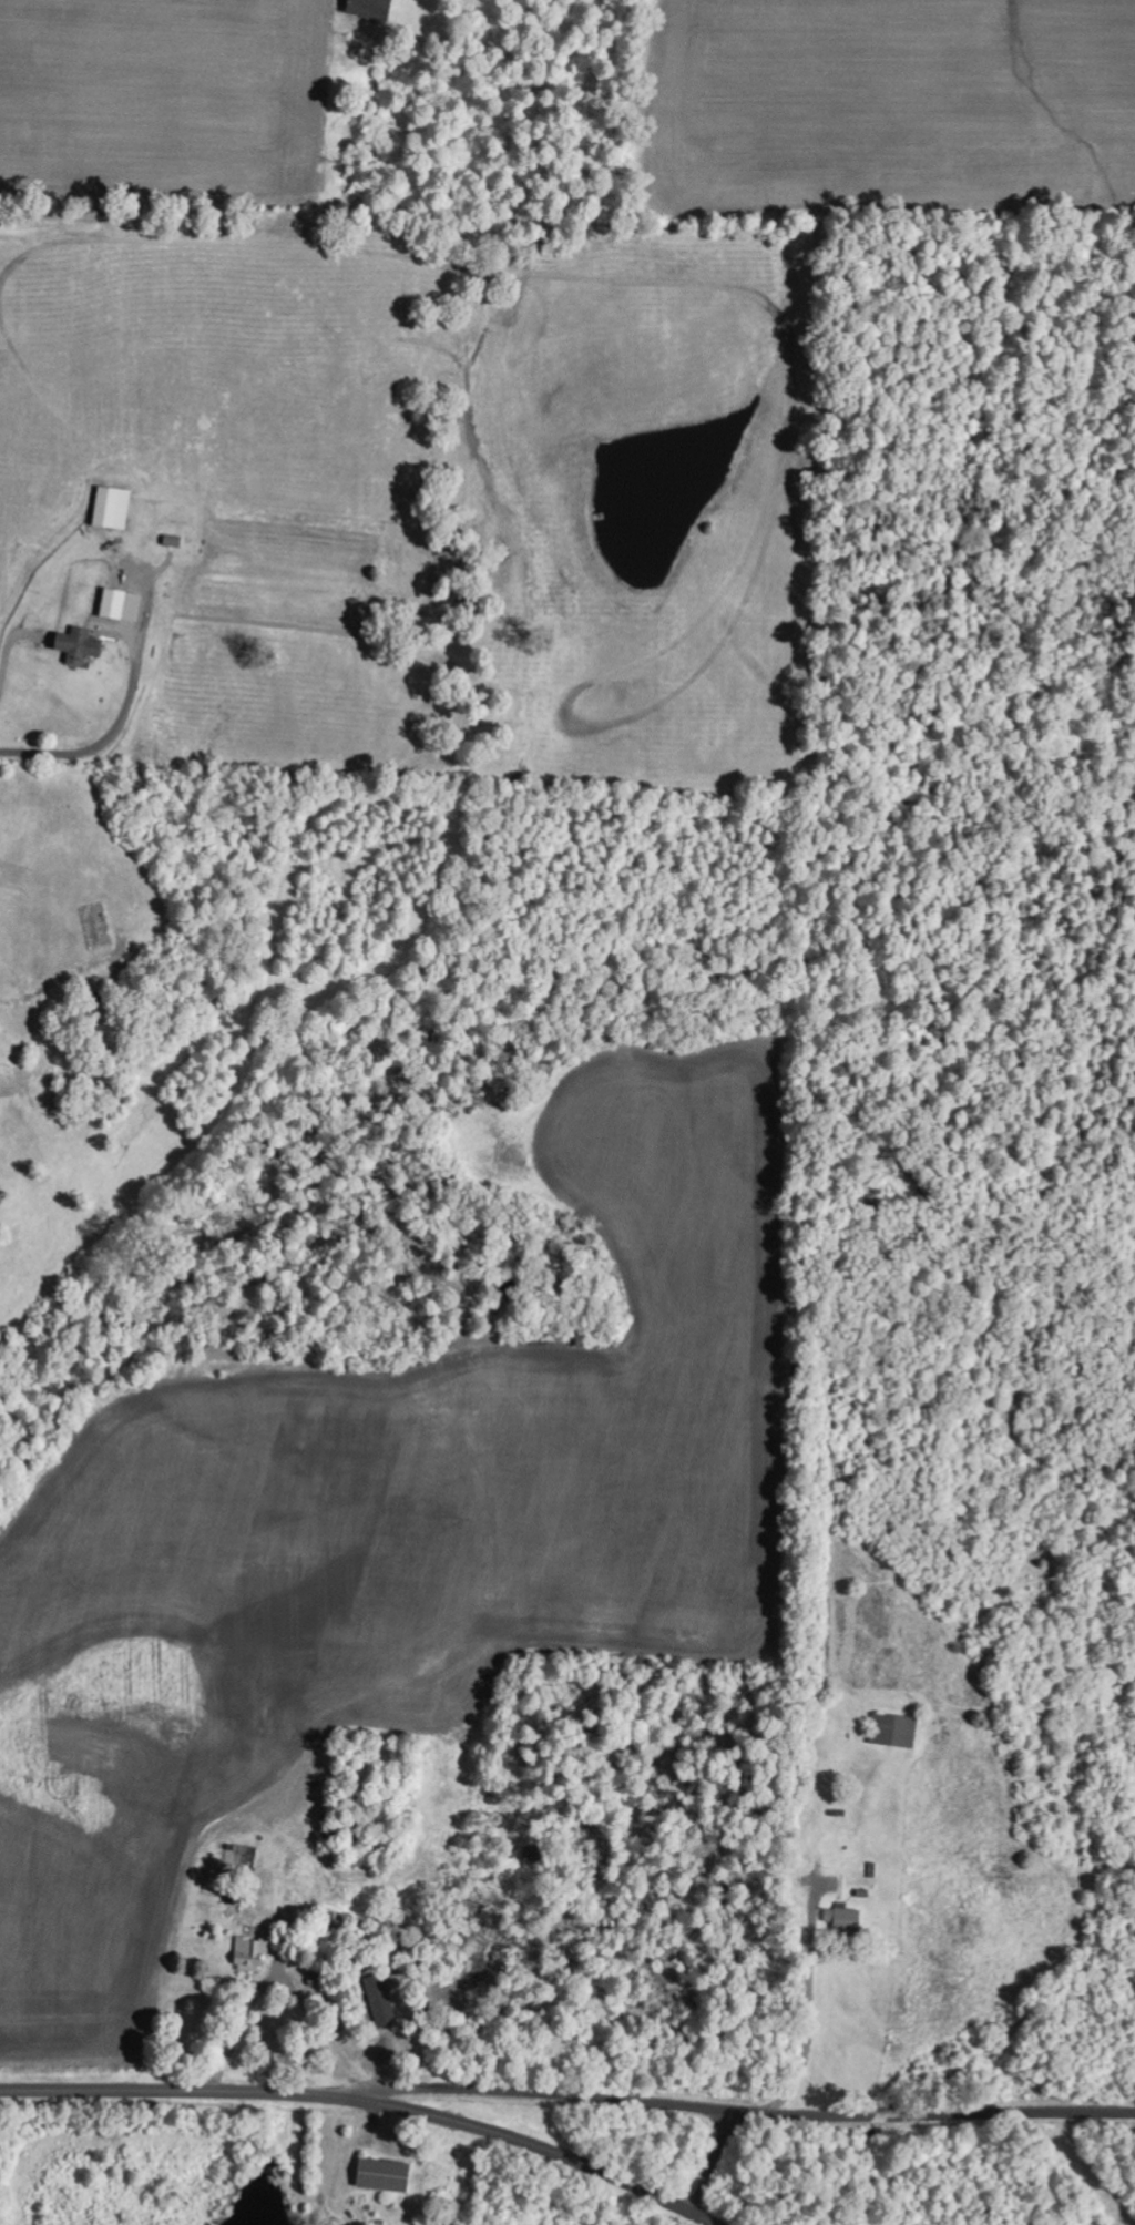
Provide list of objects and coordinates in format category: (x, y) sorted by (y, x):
building: (113, 508)
building: (123, 605)
building: (81, 645)
road: (60, 754)
building: (845, 1918)
building: (252, 1954)
road: (349, 1962)
road: (367, 2098)
road: (740, 2109)
road: (710, 2162)
building: (387, 2175)

